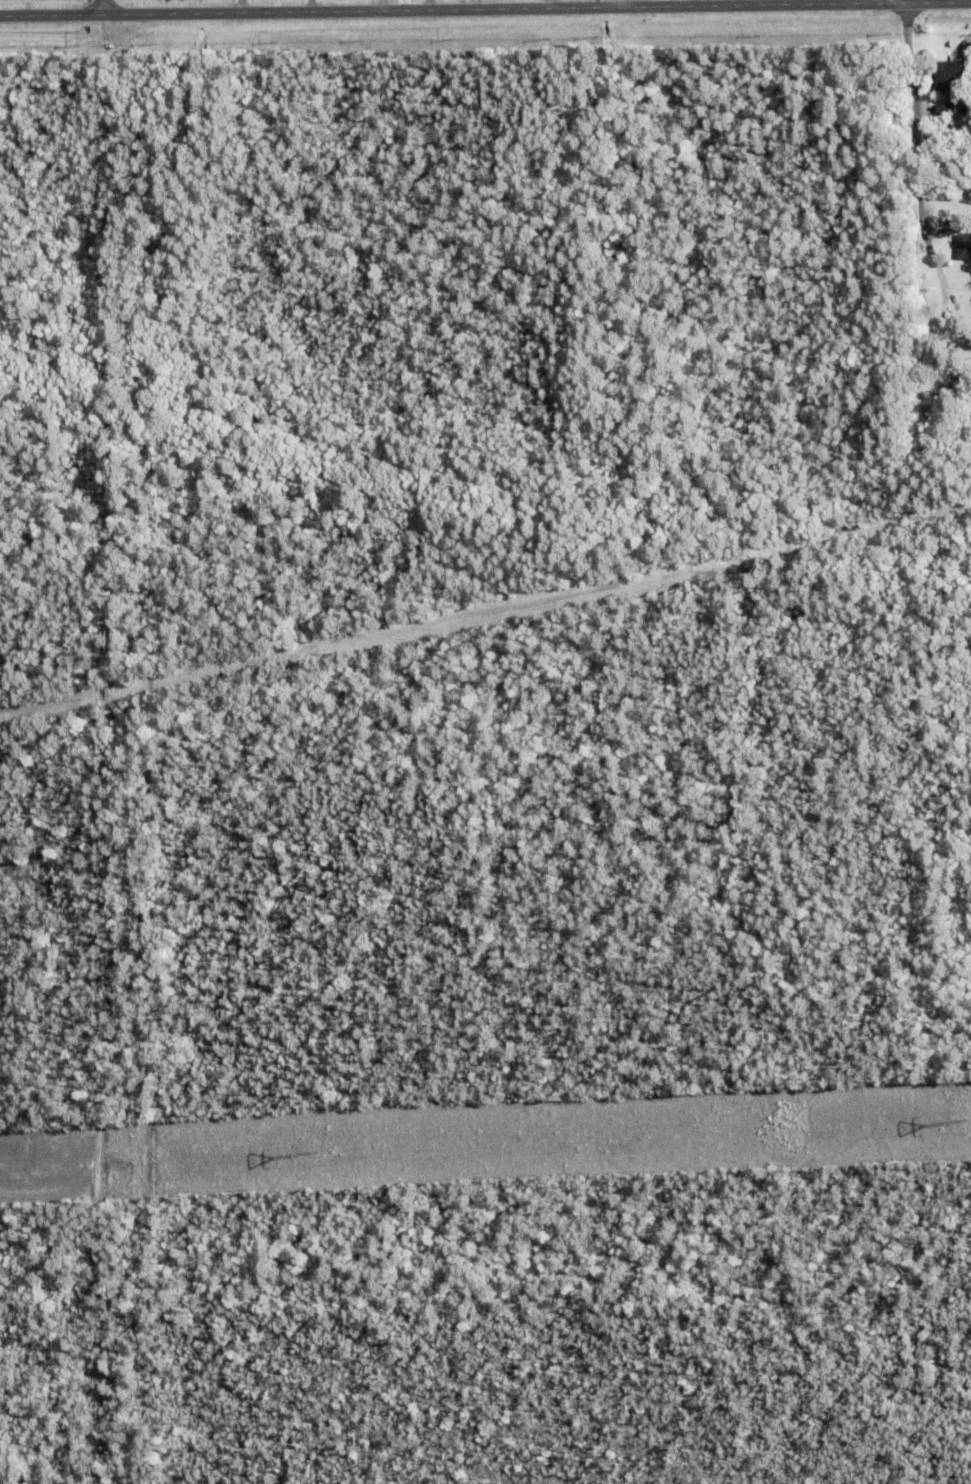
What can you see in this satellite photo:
road: (758, 2)
road: (558, 3)
road: (379, 5)
road: (102, 6)
road: (485, 8)
building: (950, 81)
road: (915, 164)
building: (958, 207)
building: (963, 249)
building: (910, 256)
building: (953, 338)
building: (947, 399)
building: (927, 447)
power tower: (965, 1124)
power tower: (317, 1155)

